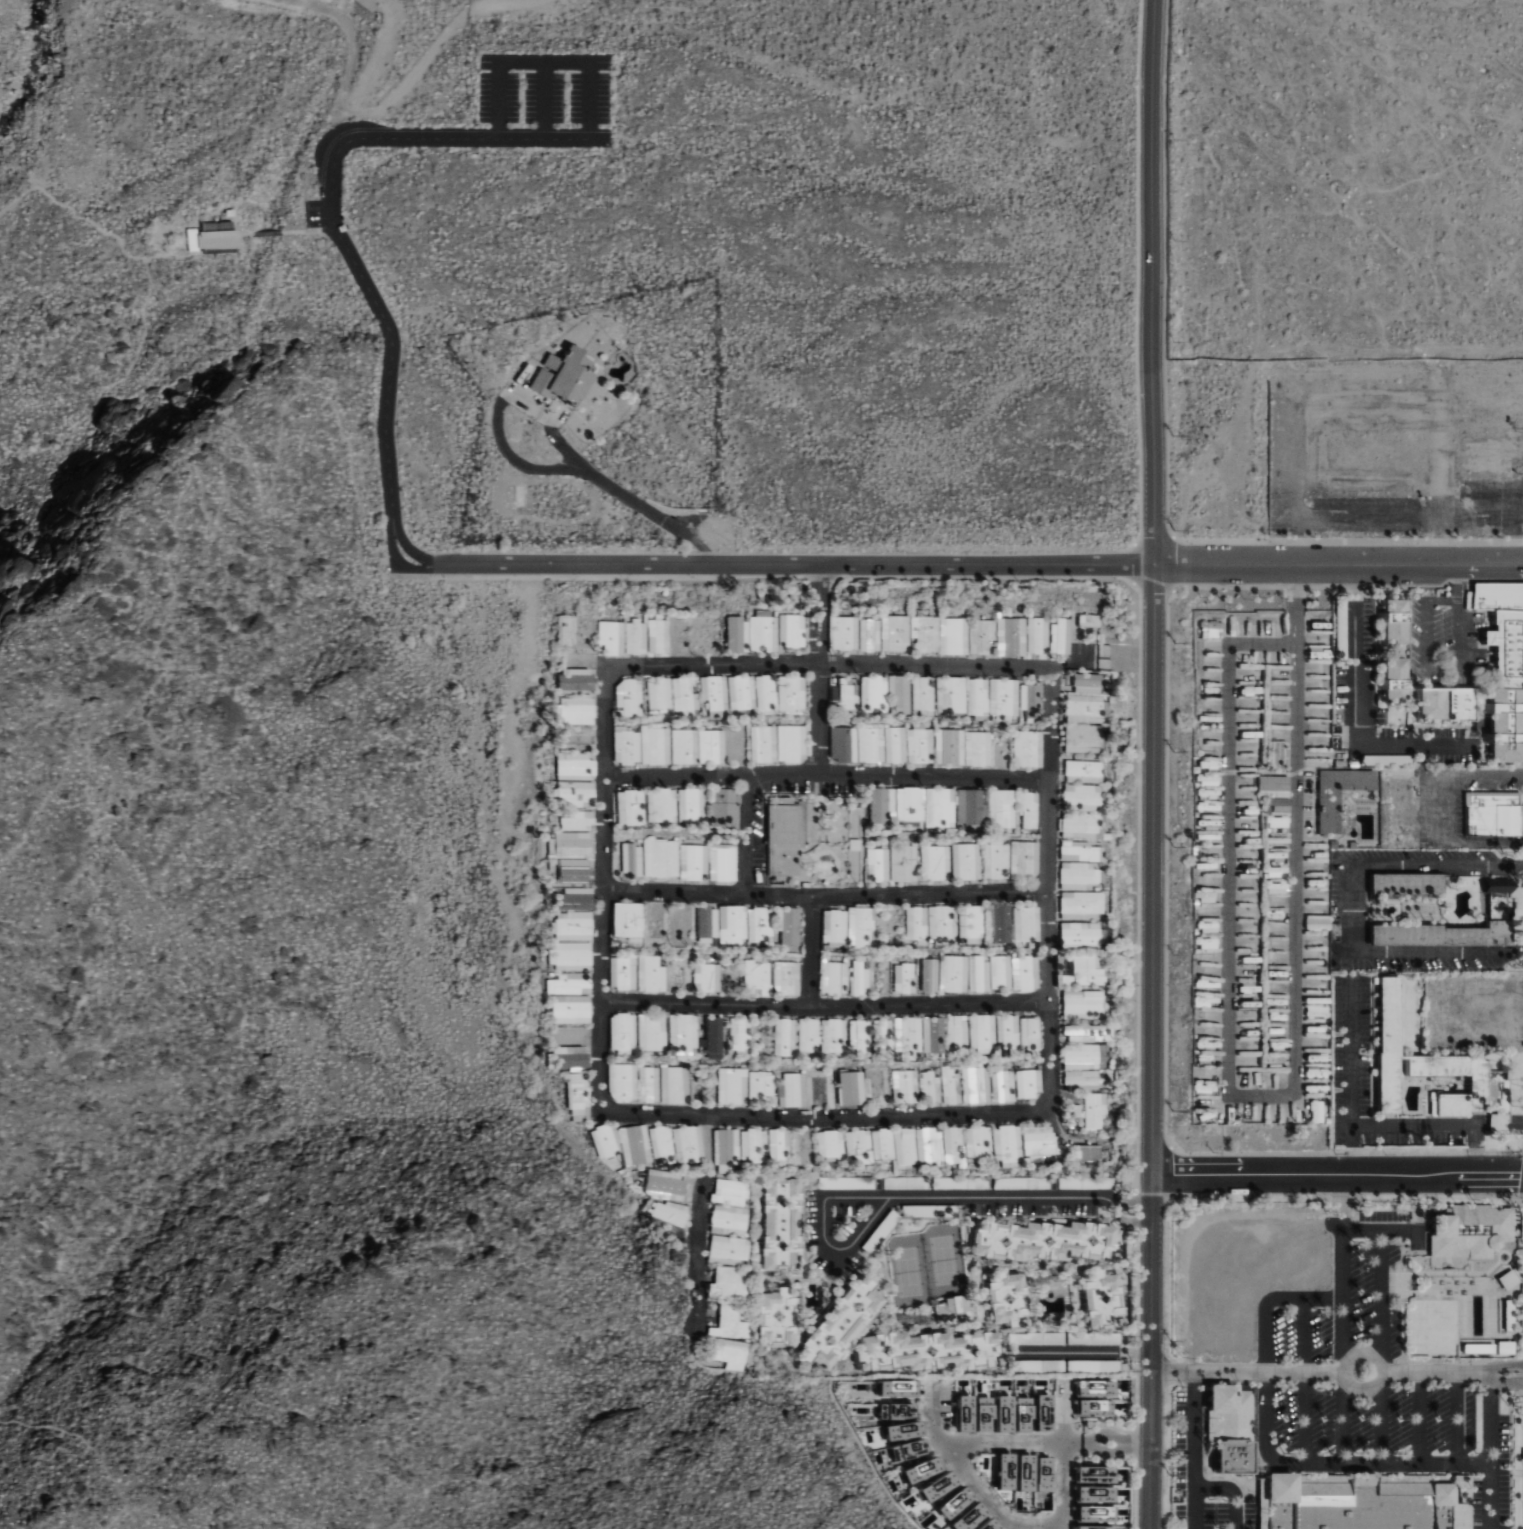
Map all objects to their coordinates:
parking lot: (542, 101)
road: (330, 207)
road: (94, 227)
road: (307, 231)
road: (266, 234)
road: (243, 235)
building: (210, 238)
road: (1151, 282)
building: (557, 377)
road: (108, 385)
road: (1455, 457)
road: (378, 464)
road: (545, 467)
road: (191, 477)
road: (1389, 513)
road: (407, 547)
road: (394, 562)
road: (1340, 564)
road: (799, 566)
road: (1457, 582)
road: (1291, 604)
building: (1387, 619)
building: (1090, 620)
building: (256, 623)
building: (568, 630)
building: (792, 630)
building: (763, 631)
building: (737, 632)
building: (845, 632)
building: (896, 633)
building: (927, 633)
building: (871, 634)
building: (659, 635)
building: (955, 635)
building: (982, 635)
building: (1039, 635)
building: (1013, 636)
building: (1062, 636)
building: (613, 637)
building: (637, 637)
road: (825, 666)
road: (1428, 666)
road: (819, 671)
building: (579, 679)
building: (1385, 679)
building: (741, 691)
building: (660, 692)
building: (792, 692)
building: (715, 693)
building: (766, 693)
building: (875, 693)
building: (923, 693)
building: (900, 694)
building: (951, 694)
building: (847, 695)
building: (630, 696)
building: (684, 696)
building: (978, 698)
building: (1004, 698)
building: (1030, 702)
building: (1440, 703)
building: (1087, 708)
road: (1355, 709)
building: (577, 710)
building: (1498, 723)
building: (1084, 734)
building: (577, 738)
building: (792, 742)
building: (764, 743)
building: (843, 743)
building: (655, 744)
building: (872, 744)
building: (896, 744)
building: (920, 744)
building: (627, 745)
building: (684, 746)
building: (712, 746)
building: (978, 748)
building: (1027, 749)
building: (575, 765)
road: (826, 776)
building: (1273, 786)
building: (1335, 794)
building: (1081, 796)
building: (883, 803)
building: (910, 803)
building: (1277, 803)
building: (690, 804)
building: (660, 805)
building: (630, 806)
building: (969, 806)
building: (724, 807)
building: (940, 807)
building: (1002, 807)
road: (1442, 808)
building: (1030, 809)
building: (1491, 815)
building: (578, 819)
building: (1278, 821)
building: (1081, 825)
road: (746, 835)
building: (786, 840)
building: (570, 843)
building: (1080, 851)
building: (662, 857)
building: (1024, 858)
building: (996, 859)
building: (633, 860)
building: (694, 861)
building: (966, 861)
building: (724, 862)
building: (935, 862)
building: (879, 864)
building: (902, 864)
building: (575, 869)
building: (1076, 875)
building: (1403, 884)
road: (1049, 889)
road: (603, 891)
road: (825, 896)
building: (575, 898)
building: (1082, 902)
road: (1353, 910)
building: (628, 919)
building: (708, 921)
building: (943, 921)
building: (917, 922)
building: (1001, 922)
building: (733, 923)
building: (971, 923)
building: (760, 924)
building: (788, 924)
building: (1028, 924)
building: (574, 925)
building: (860, 926)
building: (1450, 930)
building: (834, 931)
building: (1082, 952)
road: (810, 953)
building: (573, 956)
building: (625, 971)
building: (979, 972)
building: (1001, 972)
building: (954, 973)
building: (1022, 973)
building: (653, 974)
building: (930, 974)
building: (709, 977)
building: (758, 977)
building: (835, 977)
building: (787, 978)
building: (860, 978)
building: (905, 978)
building: (572, 983)
building: (1082, 1003)
building: (568, 1008)
road: (826, 1008)
building: (957, 1031)
building: (983, 1031)
building: (1008, 1031)
building: (625, 1032)
building: (1030, 1032)
building: (654, 1033)
building: (685, 1033)
building: (933, 1034)
building: (715, 1035)
building: (741, 1035)
building: (809, 1035)
building: (834, 1035)
building: (885, 1036)
building: (785, 1037)
building: (861, 1037)
building: (907, 1037)
building: (1385, 1044)
building: (1087, 1046)
road: (1153, 1046)
road: (1350, 1051)
building: (566, 1059)
building: (1085, 1077)
building: (626, 1082)
building: (1029, 1082)
building: (1486, 1083)
building: (652, 1084)
building: (762, 1084)
building: (678, 1085)
building: (733, 1085)
building: (1003, 1085)
building: (905, 1086)
building: (975, 1086)
building: (852, 1087)
building: (930, 1087)
building: (793, 1090)
building: (576, 1094)
road: (1294, 1097)
building: (1094, 1110)
road: (825, 1119)
road: (1496, 1121)
road: (1514, 1121)
road: (1480, 1122)
road: (1385, 1124)
building: (603, 1139)
building: (830, 1143)
building: (881, 1143)
building: (977, 1143)
building: (632, 1144)
building: (659, 1144)
building: (754, 1144)
building: (779, 1144)
building: (685, 1145)
building: (858, 1145)
building: (953, 1145)
building: (1006, 1145)
building: (928, 1146)
building: (904, 1147)
building: (727, 1148)
road: (1475, 1151)
building: (1087, 1152)
road: (1337, 1177)
building: (664, 1184)
building: (728, 1191)
road: (923, 1198)
building: (667, 1215)
building: (727, 1220)
road: (700, 1221)
building: (778, 1224)
road: (1381, 1231)
building: (1468, 1231)
building: (1045, 1240)
building: (726, 1249)
building: (726, 1283)
road: (1328, 1298)
building: (1005, 1299)
building: (1101, 1299)
building: (951, 1310)
building: (775, 1317)
building: (727, 1322)
building: (840, 1324)
road: (1381, 1348)
building: (1474, 1348)
building: (1500, 1348)
building: (725, 1351)
building: (929, 1351)
road: (1081, 1352)
road: (1506, 1365)
road: (1323, 1371)
road: (1504, 1380)
road: (1304, 1382)
road: (1342, 1382)
building: (1003, 1389)
building: (890, 1391)
building: (1089, 1391)
building: (986, 1408)
building: (1088, 1410)
building: (1045, 1412)
building: (890, 1413)
building: (967, 1413)
building: (1007, 1413)
building: (1026, 1414)
building: (1037, 1415)
building: (956, 1416)
building: (977, 1417)
building: (997, 1417)
building: (1017, 1417)
road: (1420, 1418)
road: (1457, 1418)
building: (1228, 1429)
building: (896, 1434)
road: (1018, 1443)
road: (87, 1447)
road: (1193, 1450)
building: (903, 1452)
road: (1381, 1466)
building: (1008, 1471)
building: (915, 1474)
building: (1097, 1474)
building: (997, 1475)
building: (1017, 1477)
building: (1037, 1478)
road: (1062, 1484)
building: (941, 1486)
road: (1232, 1491)
building: (1097, 1494)
road: (1491, 1497)
building: (1364, 1502)
road: (992, 1503)
building: (964, 1509)
building: (1098, 1513)
building: (991, 1524)
building: (1096, 1527)

